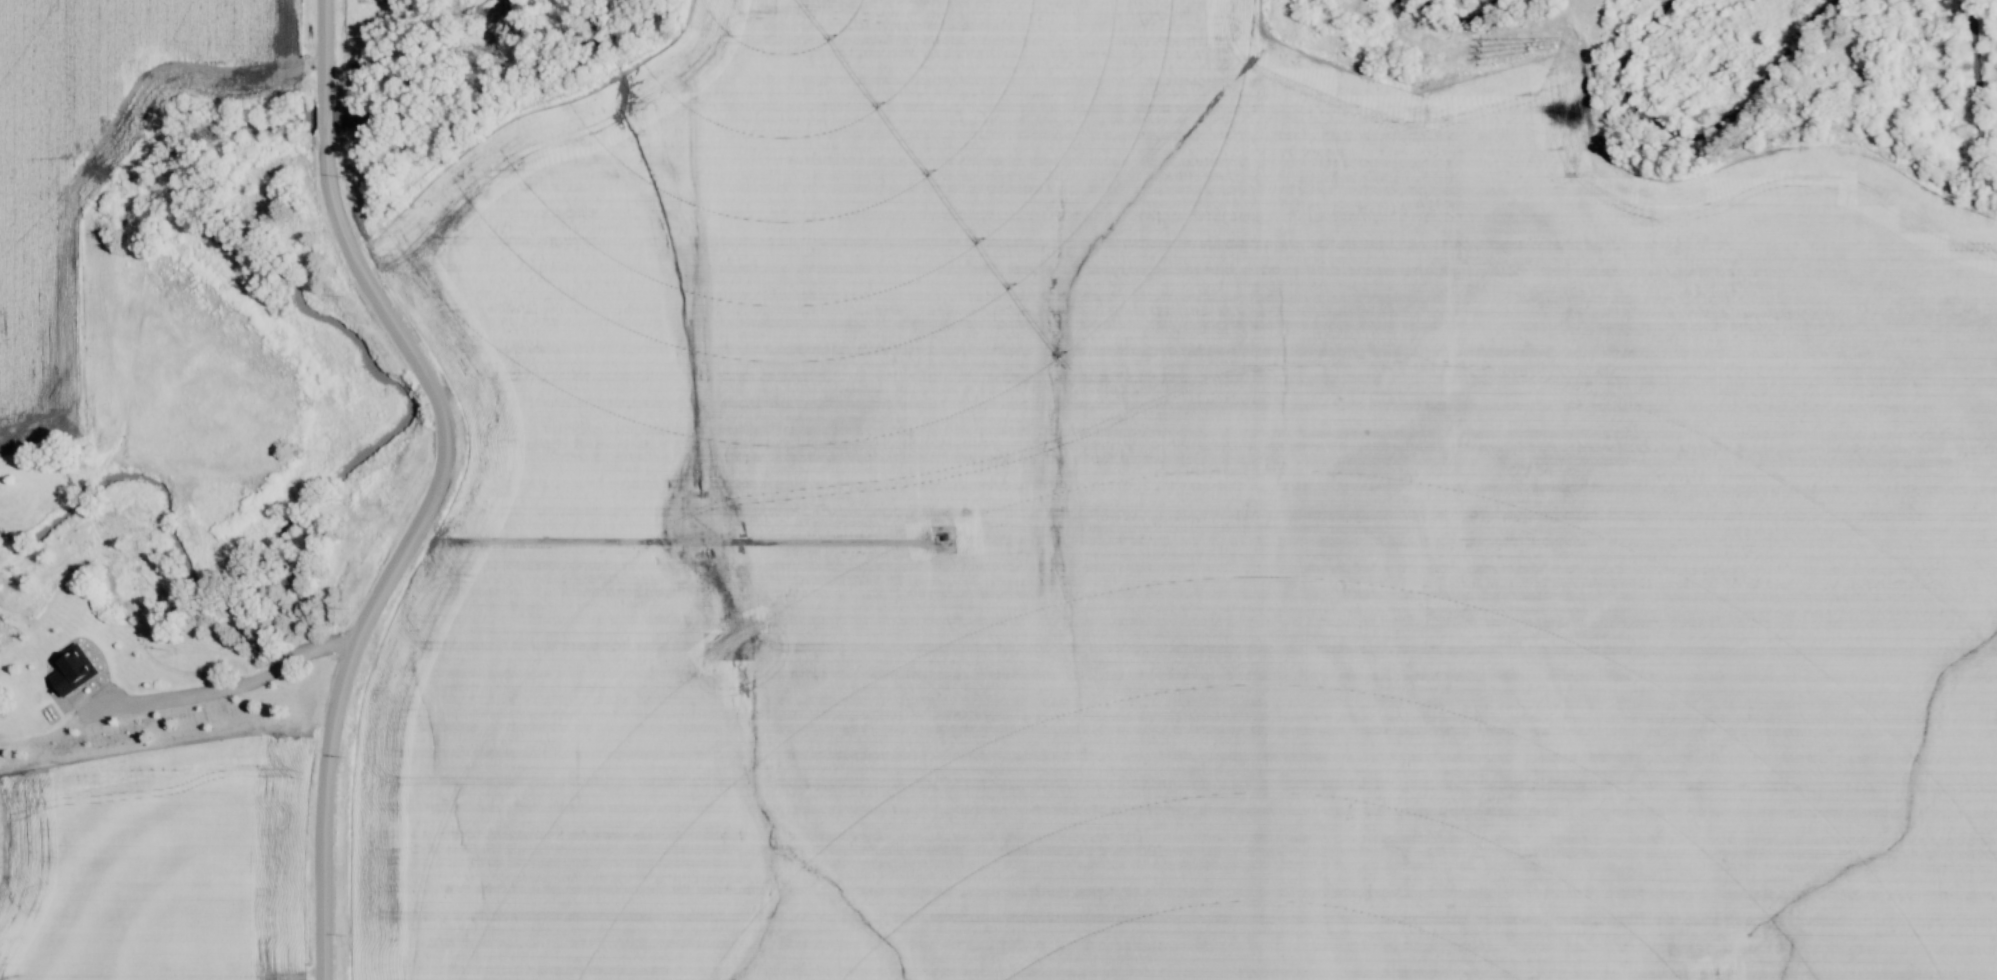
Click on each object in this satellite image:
river: (1446, 6)
river: (467, 93)
river: (1978, 97)
river: (1705, 105)
river: (324, 118)
river: (390, 433)
road: (442, 487)
building: (72, 671)

